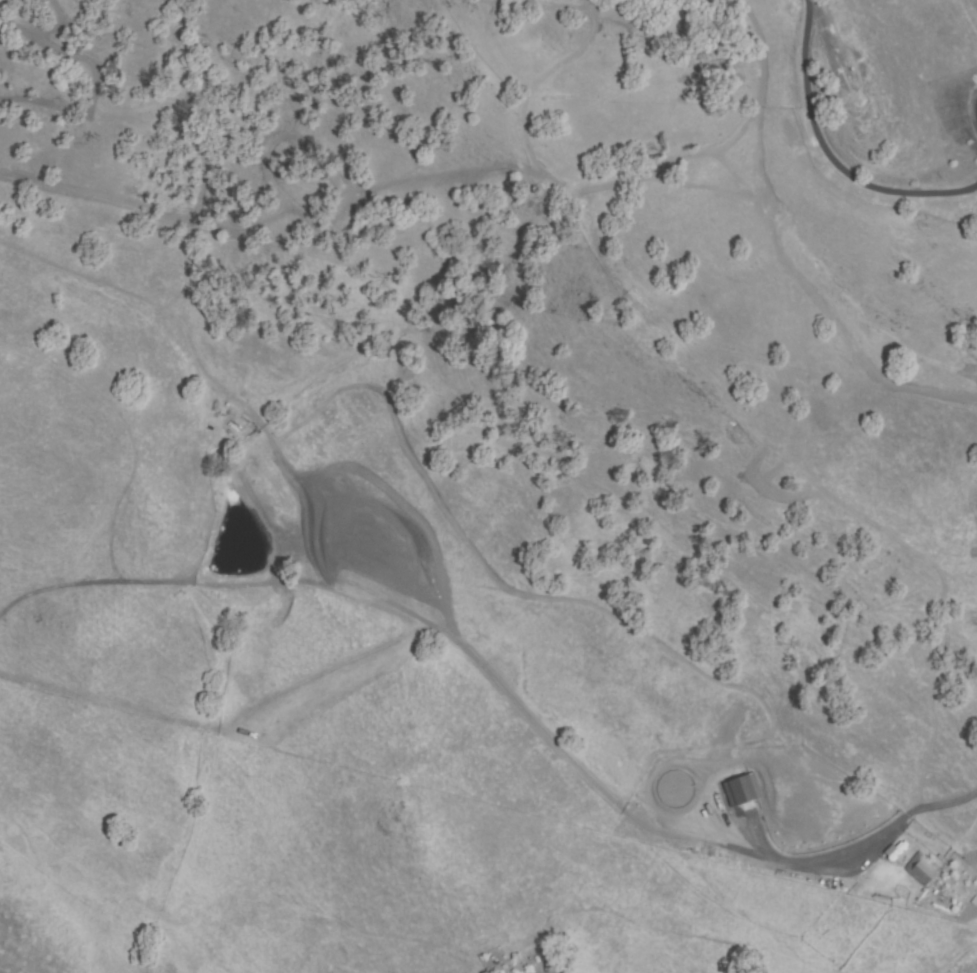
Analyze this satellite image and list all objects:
road: (969, 113)
road: (825, 156)
building: (922, 870)

